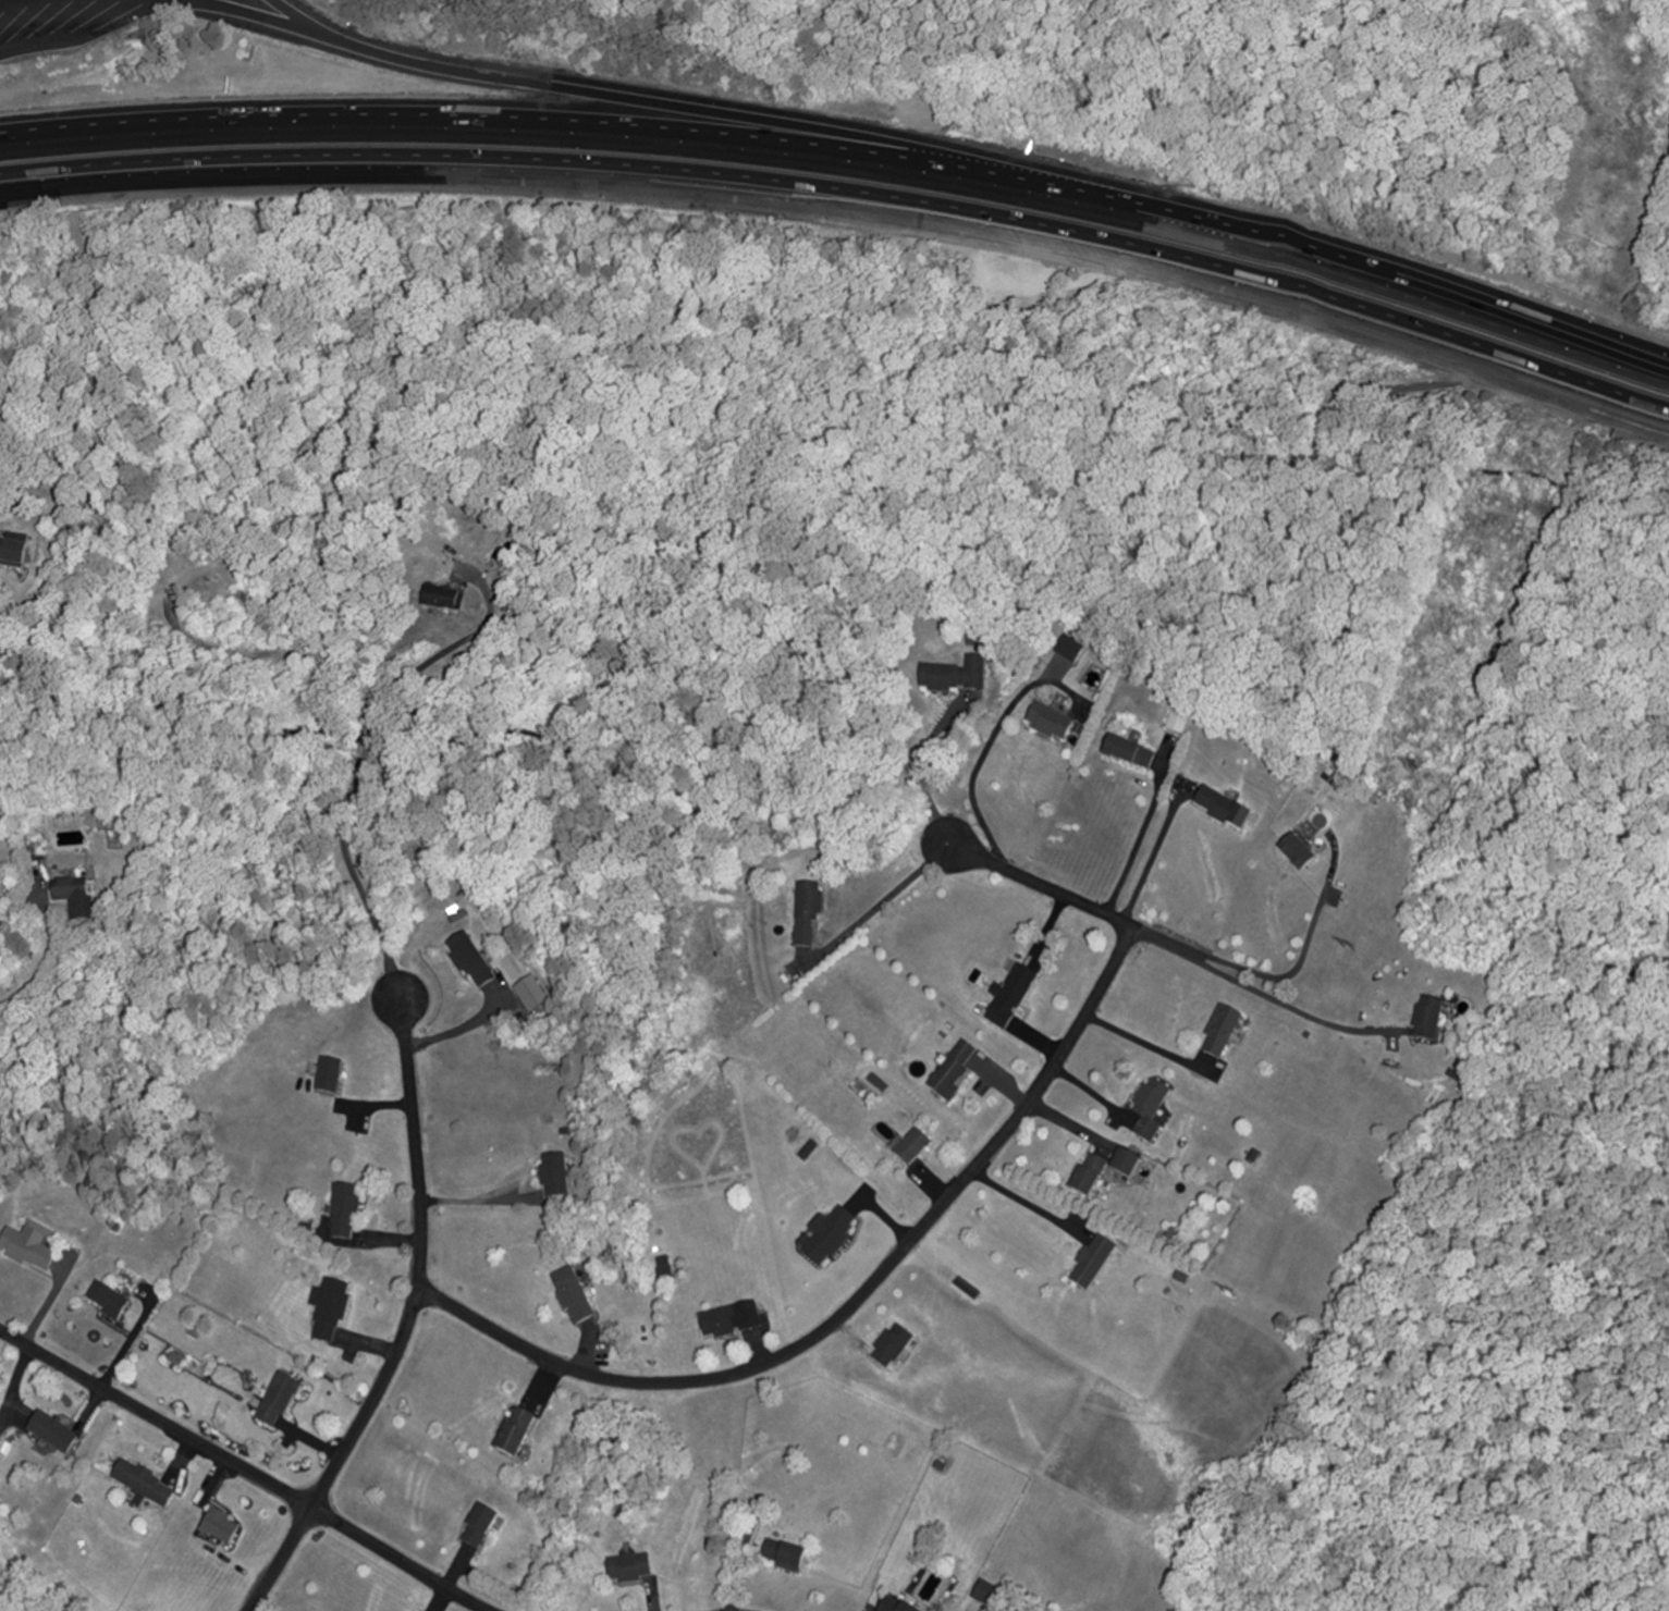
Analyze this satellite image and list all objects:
road: (3, 0)
parking lot: (15, 3)
road: (260, 16)
road: (297, 17)
road: (659, 103)
power tower: (1636, 125)
road: (848, 148)
road: (848, 209)
road: (921, 767)
power tower: (1411, 770)
road: (366, 777)
road: (980, 780)
road: (1157, 857)
road: (882, 895)
power tower: (1349, 949)
road: (1311, 958)
road: (41, 967)
road: (1259, 999)
road: (1144, 1037)
road: (1026, 1205)
road: (925, 1226)
power tower: (1228, 1294)
road: (409, 1318)
road: (246, 1466)

